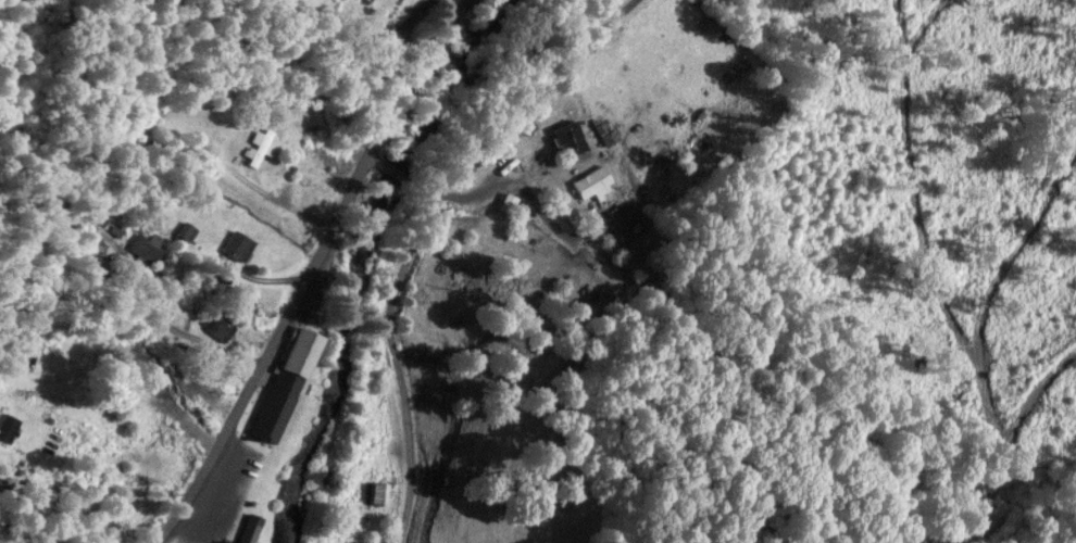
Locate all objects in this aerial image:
building: (567, 136)
building: (259, 141)
building: (510, 159)
road: (401, 177)
building: (506, 201)
road: (439, 224)
building: (235, 244)
road: (272, 261)
building: (220, 325)
building: (281, 383)
building: (378, 491)
building: (247, 528)

